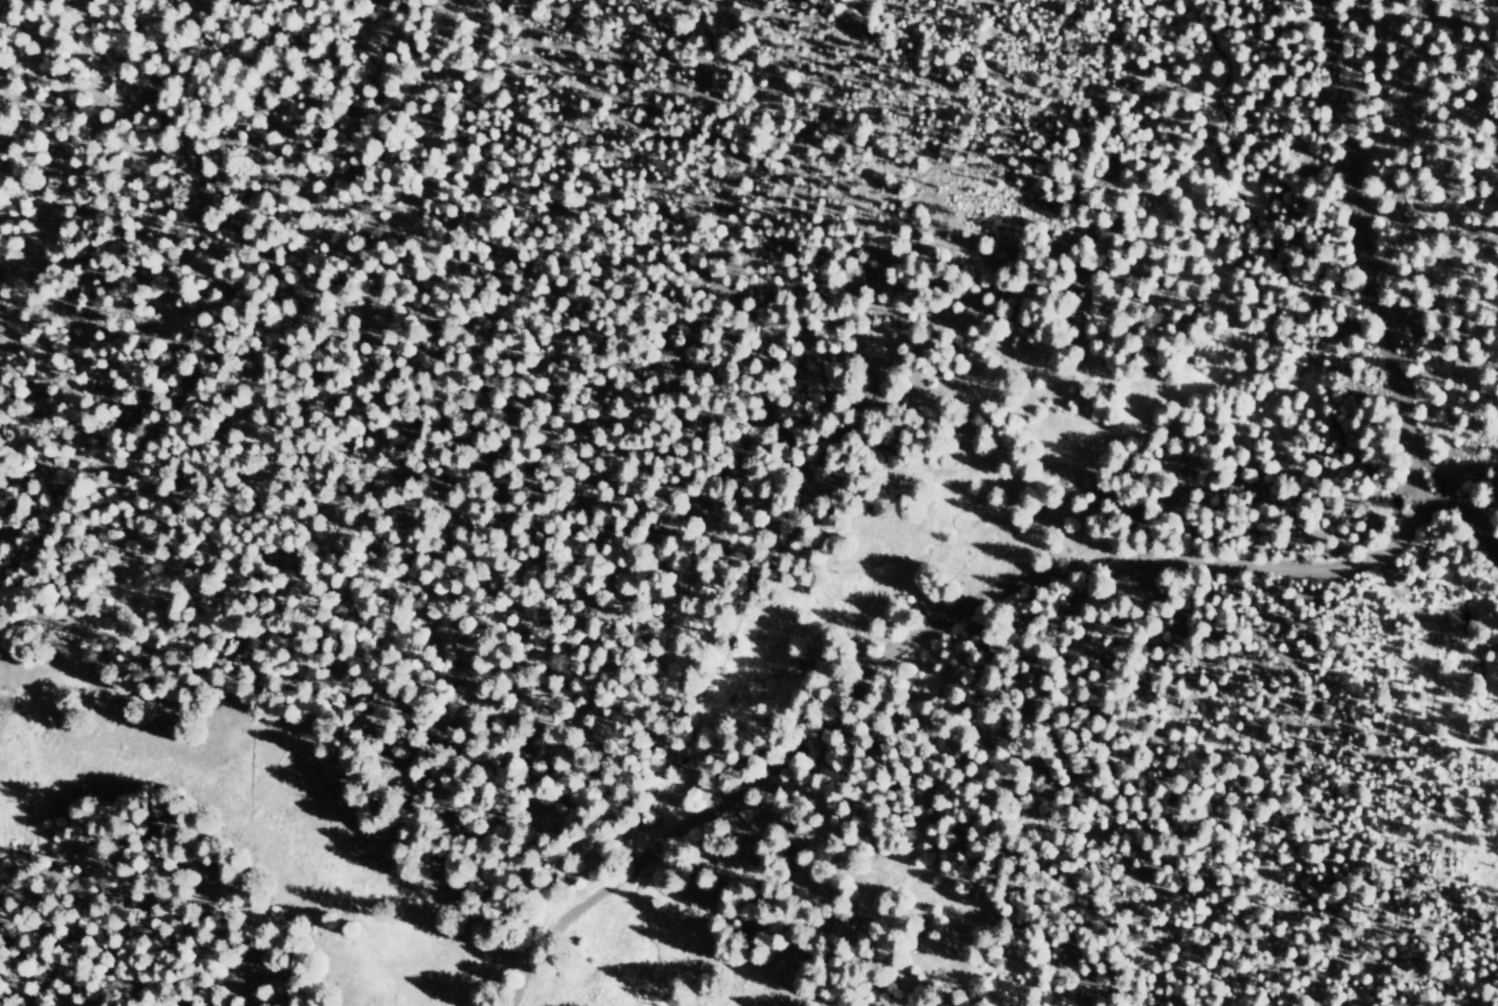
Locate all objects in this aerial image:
road: (1378, 258)
road: (1451, 344)
road: (1418, 523)
road: (1472, 526)
road: (893, 645)

